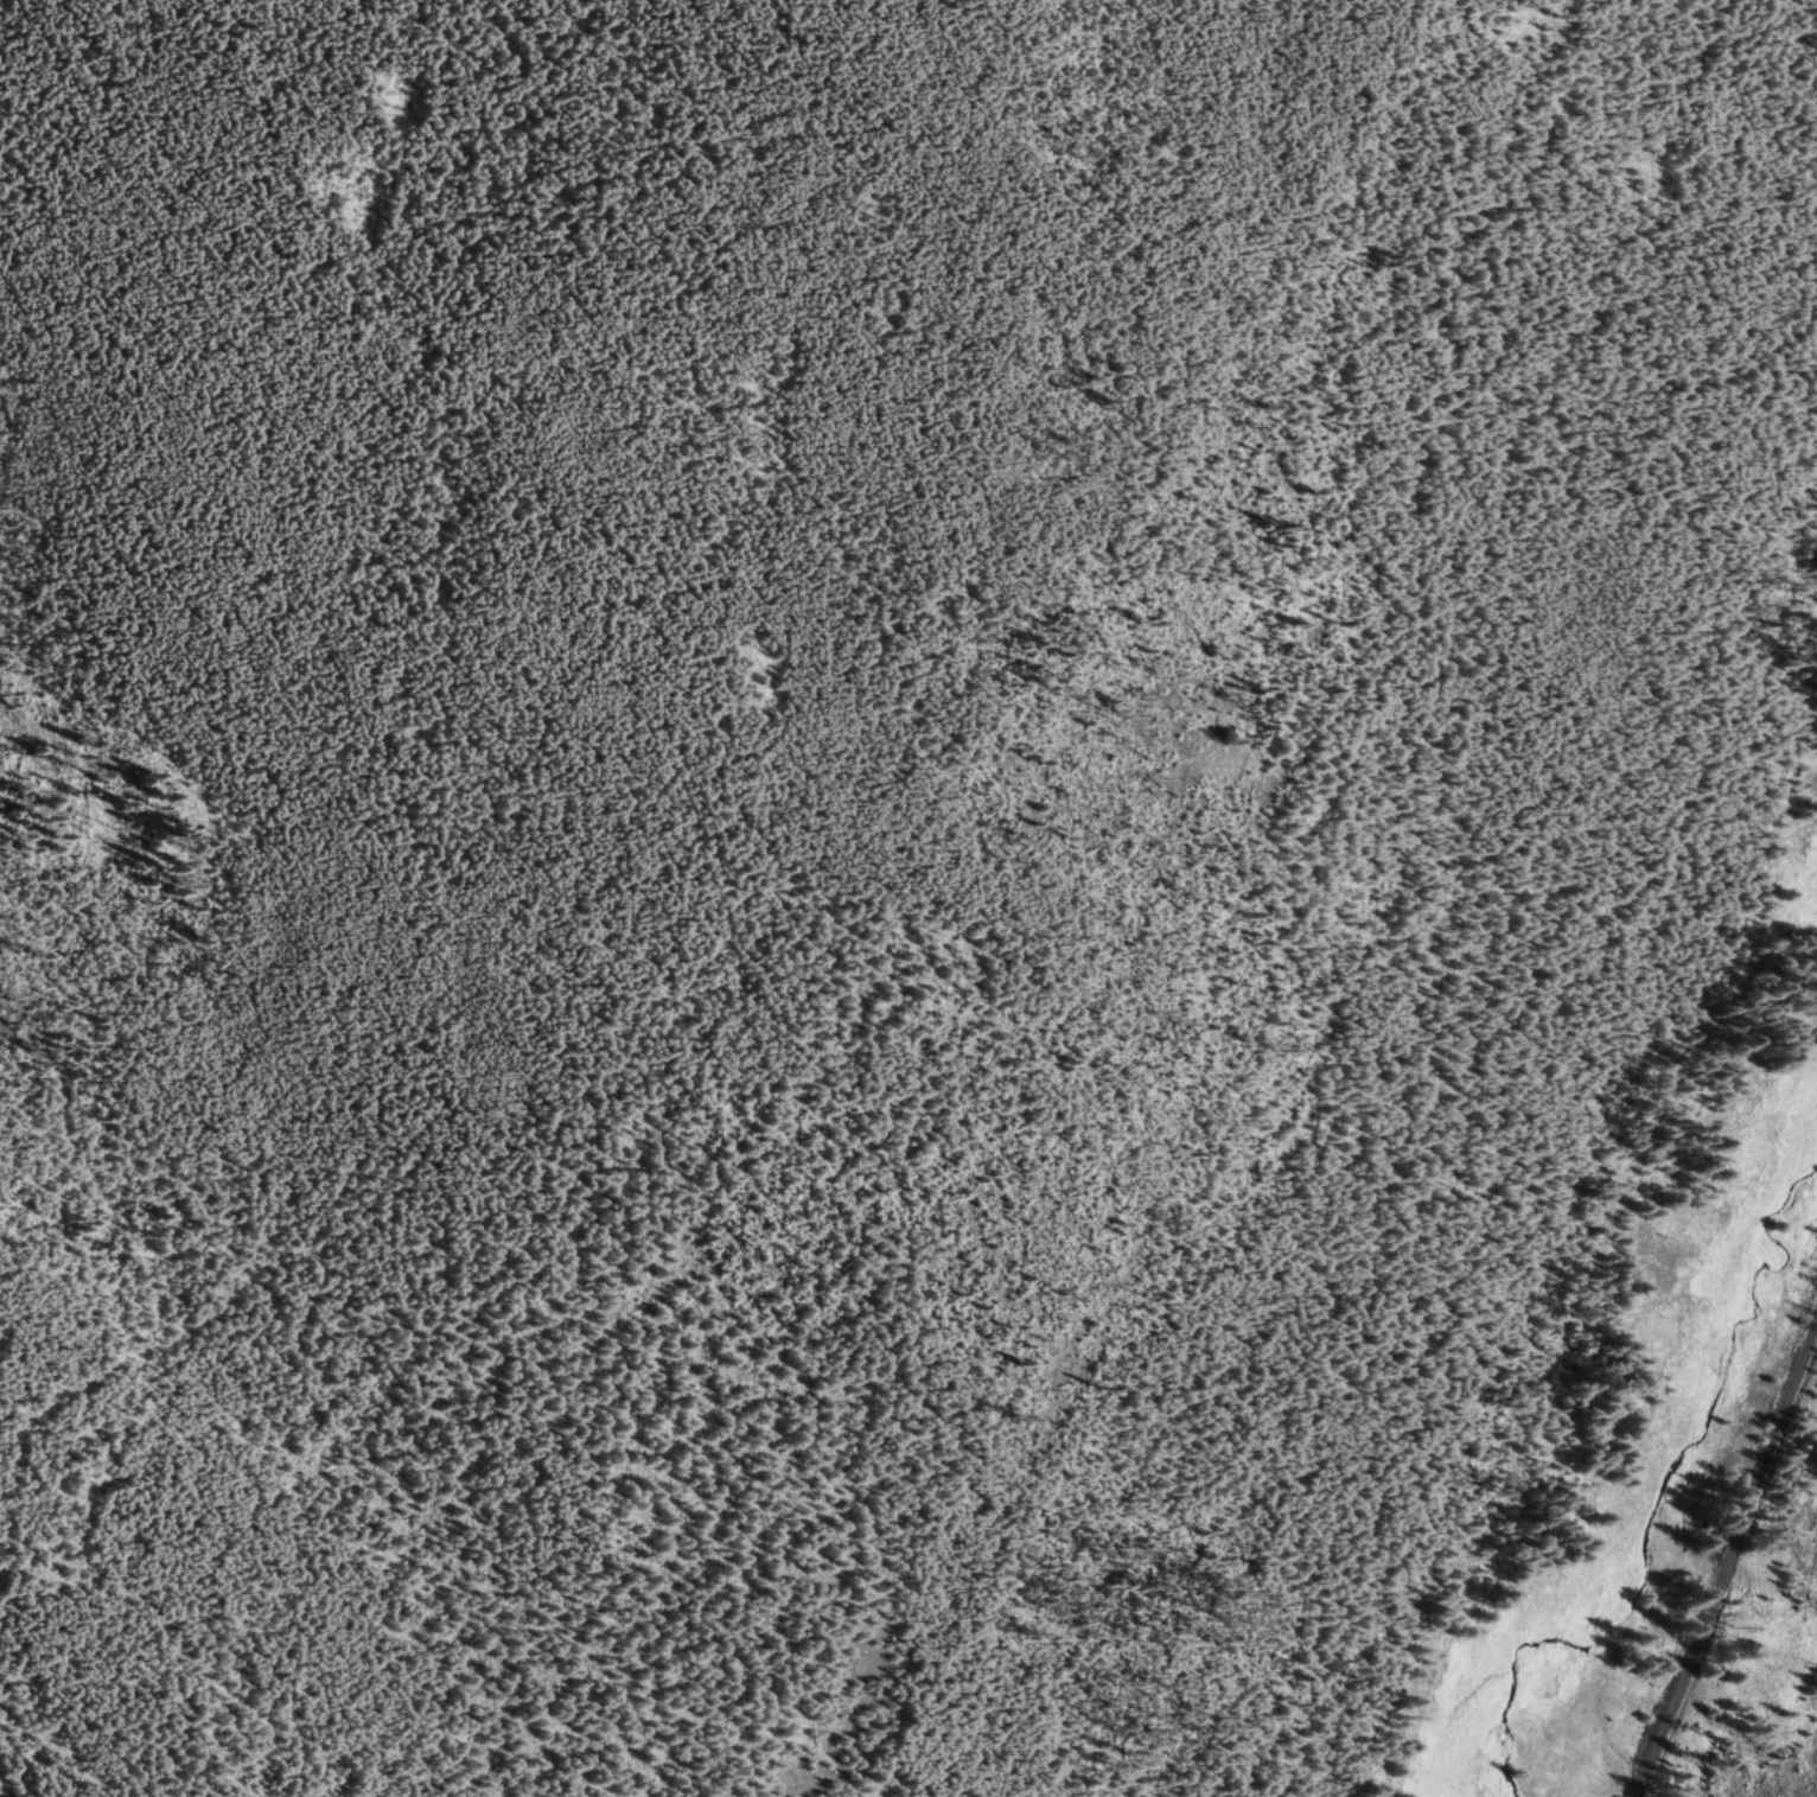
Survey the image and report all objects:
road: (1724, 1563)

